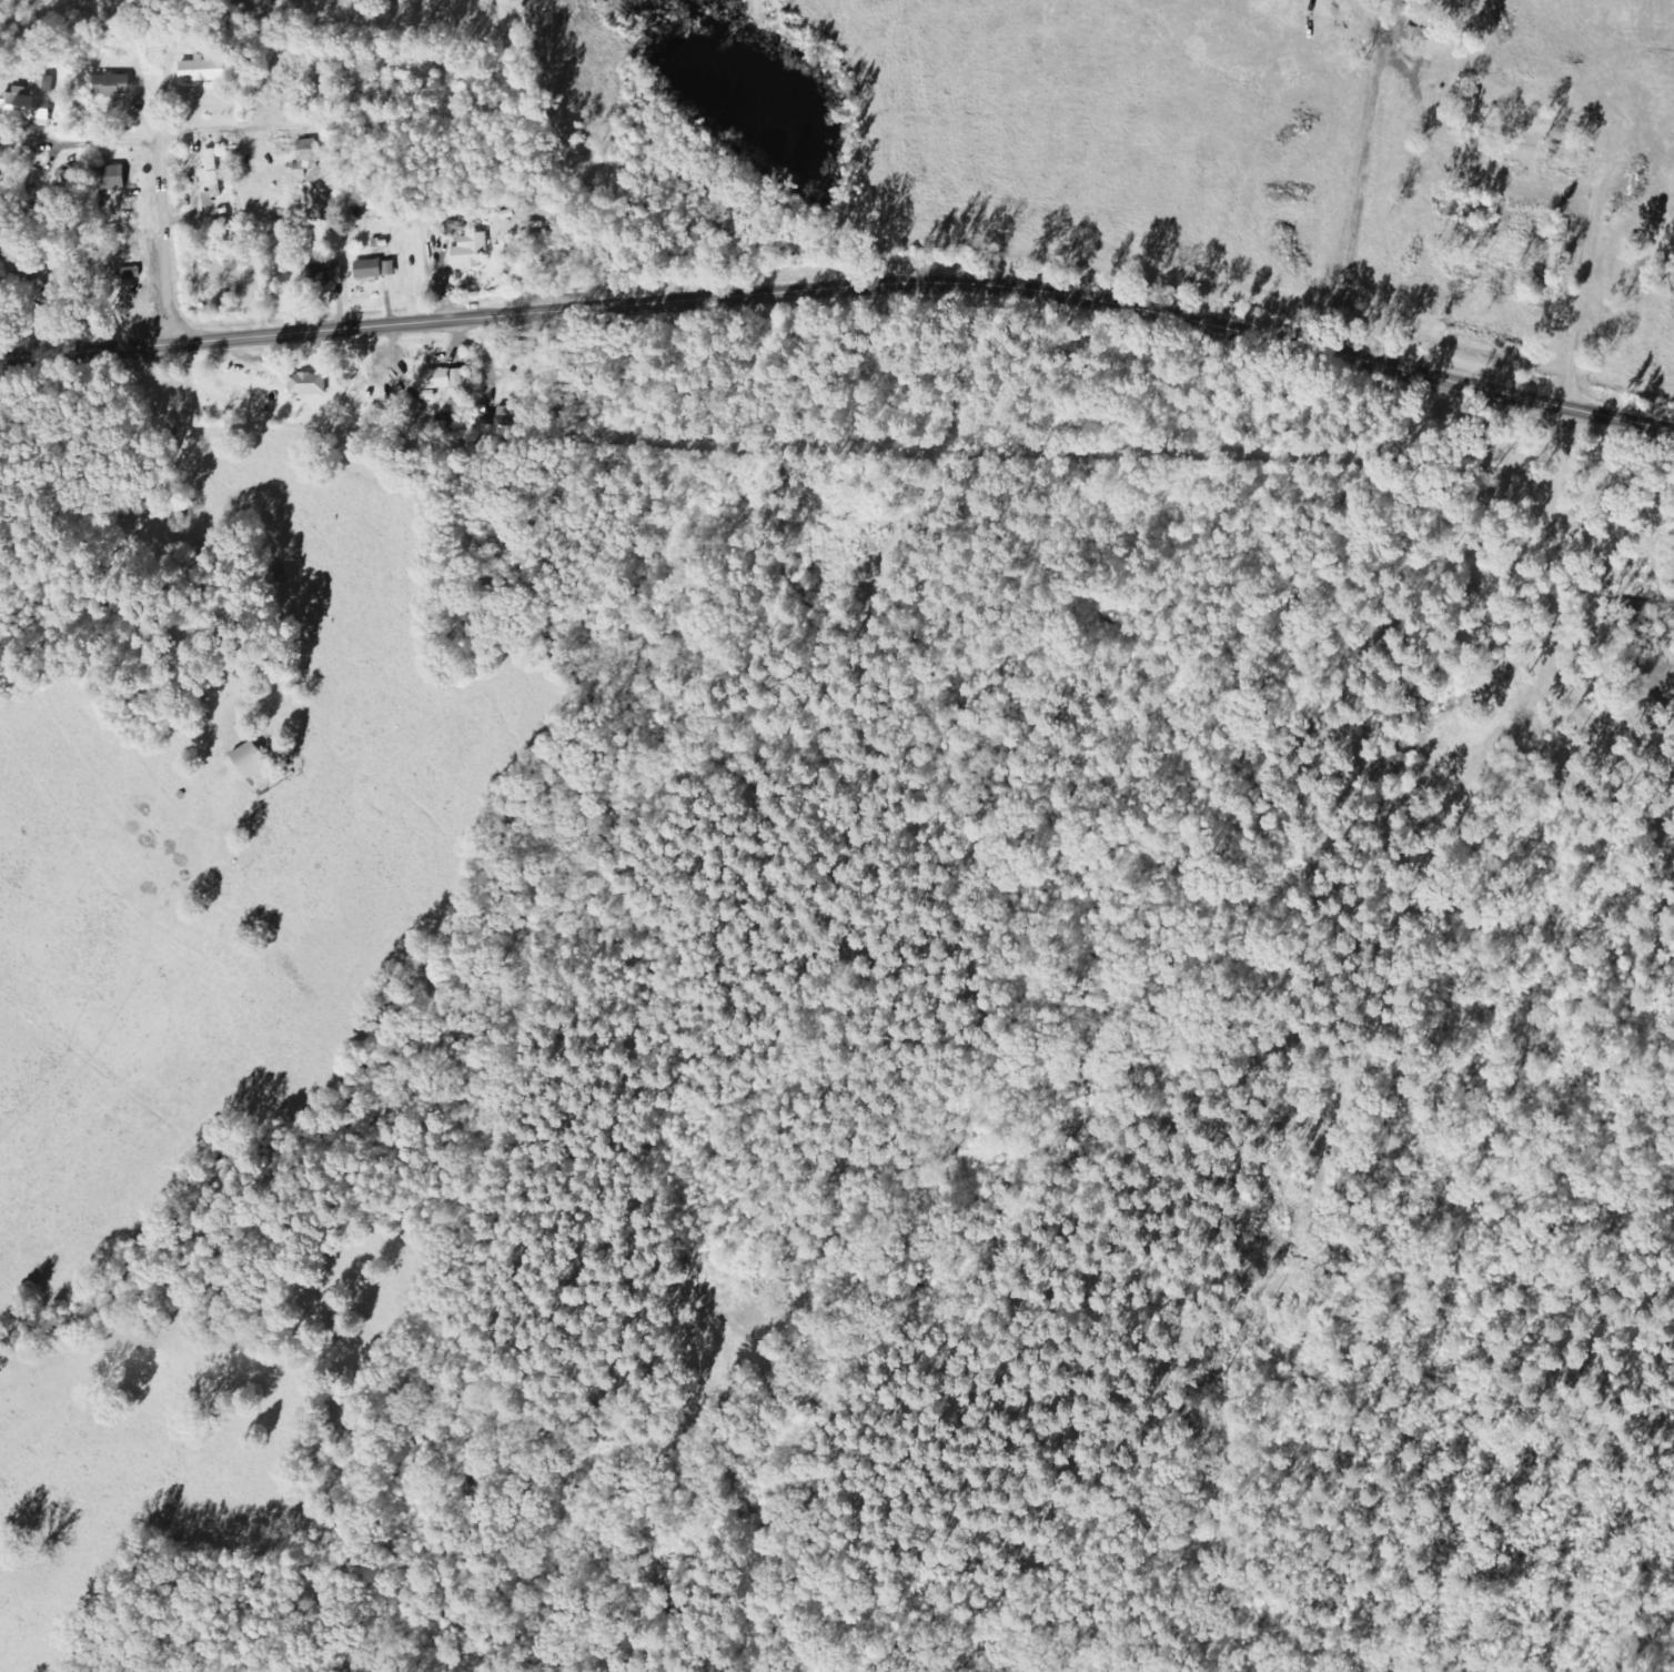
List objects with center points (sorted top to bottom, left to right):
building: (202, 72)
building: (112, 85)
building: (30, 104)
road: (1668, 153)
building: (307, 155)
building: (110, 179)
building: (212, 180)
building: (468, 251)
building: (375, 270)
building: (325, 274)
road: (843, 288)
building: (444, 382)
building: (307, 385)
building: (249, 762)

